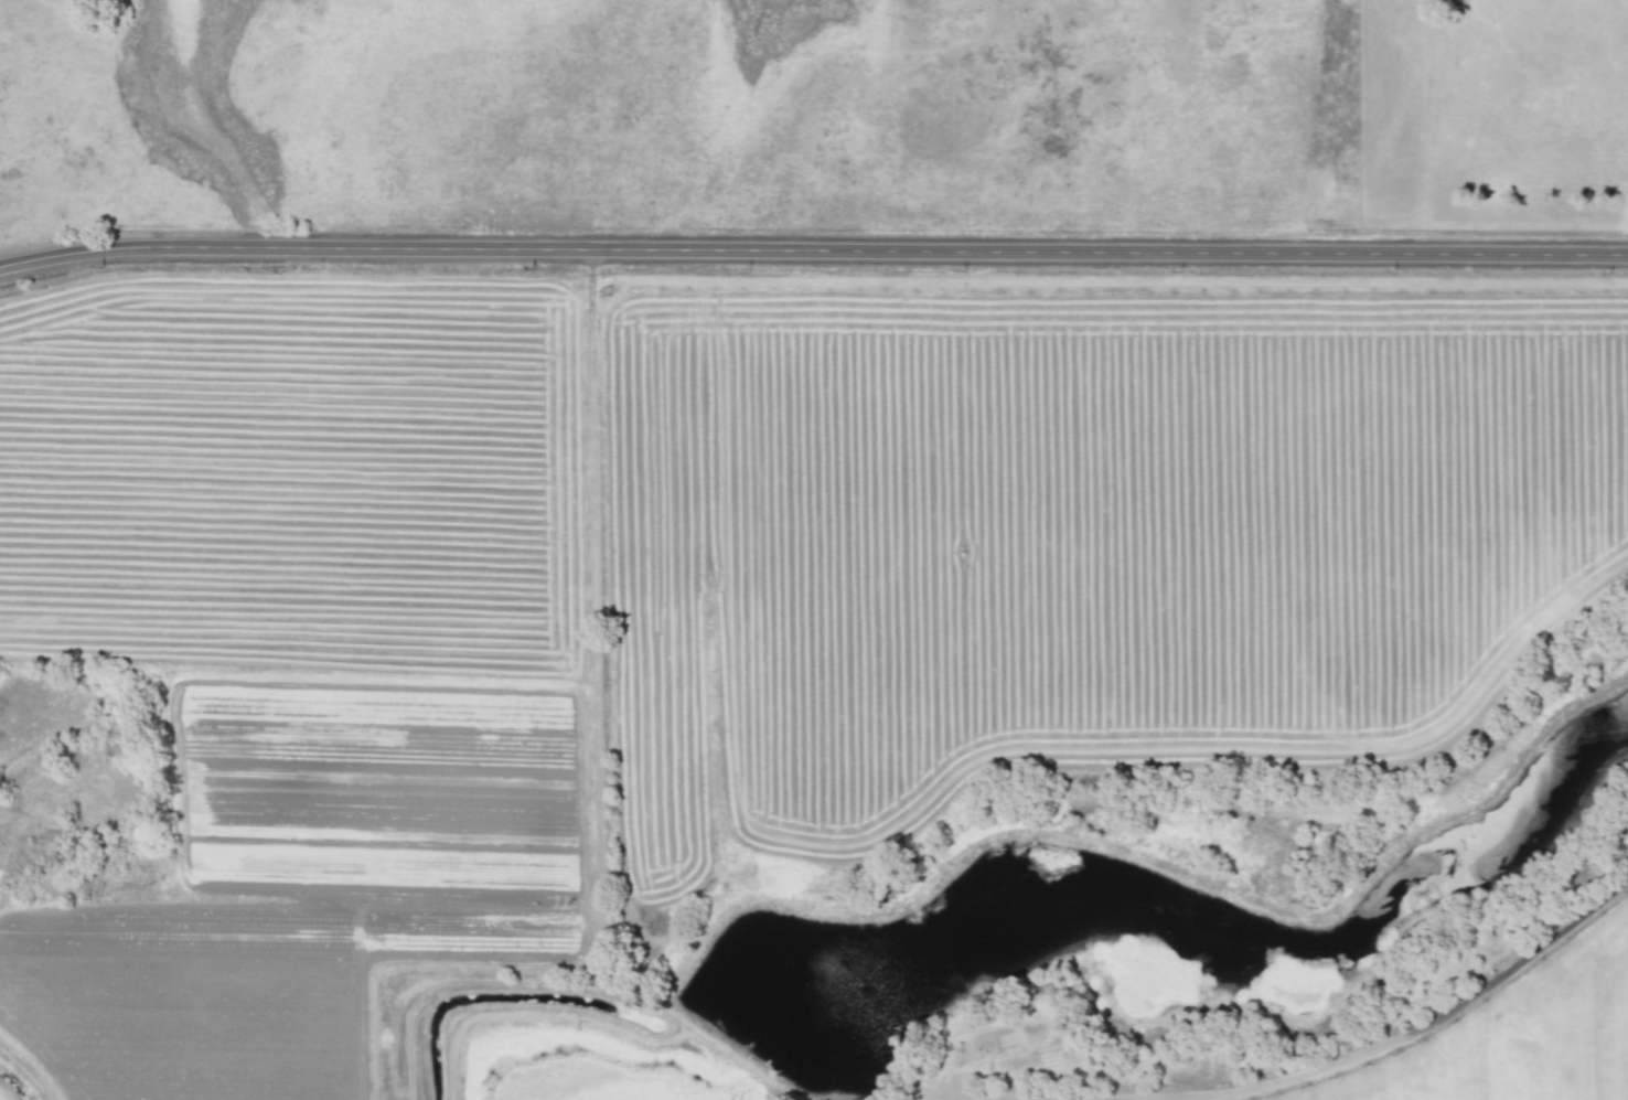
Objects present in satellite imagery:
road: (813, 248)

